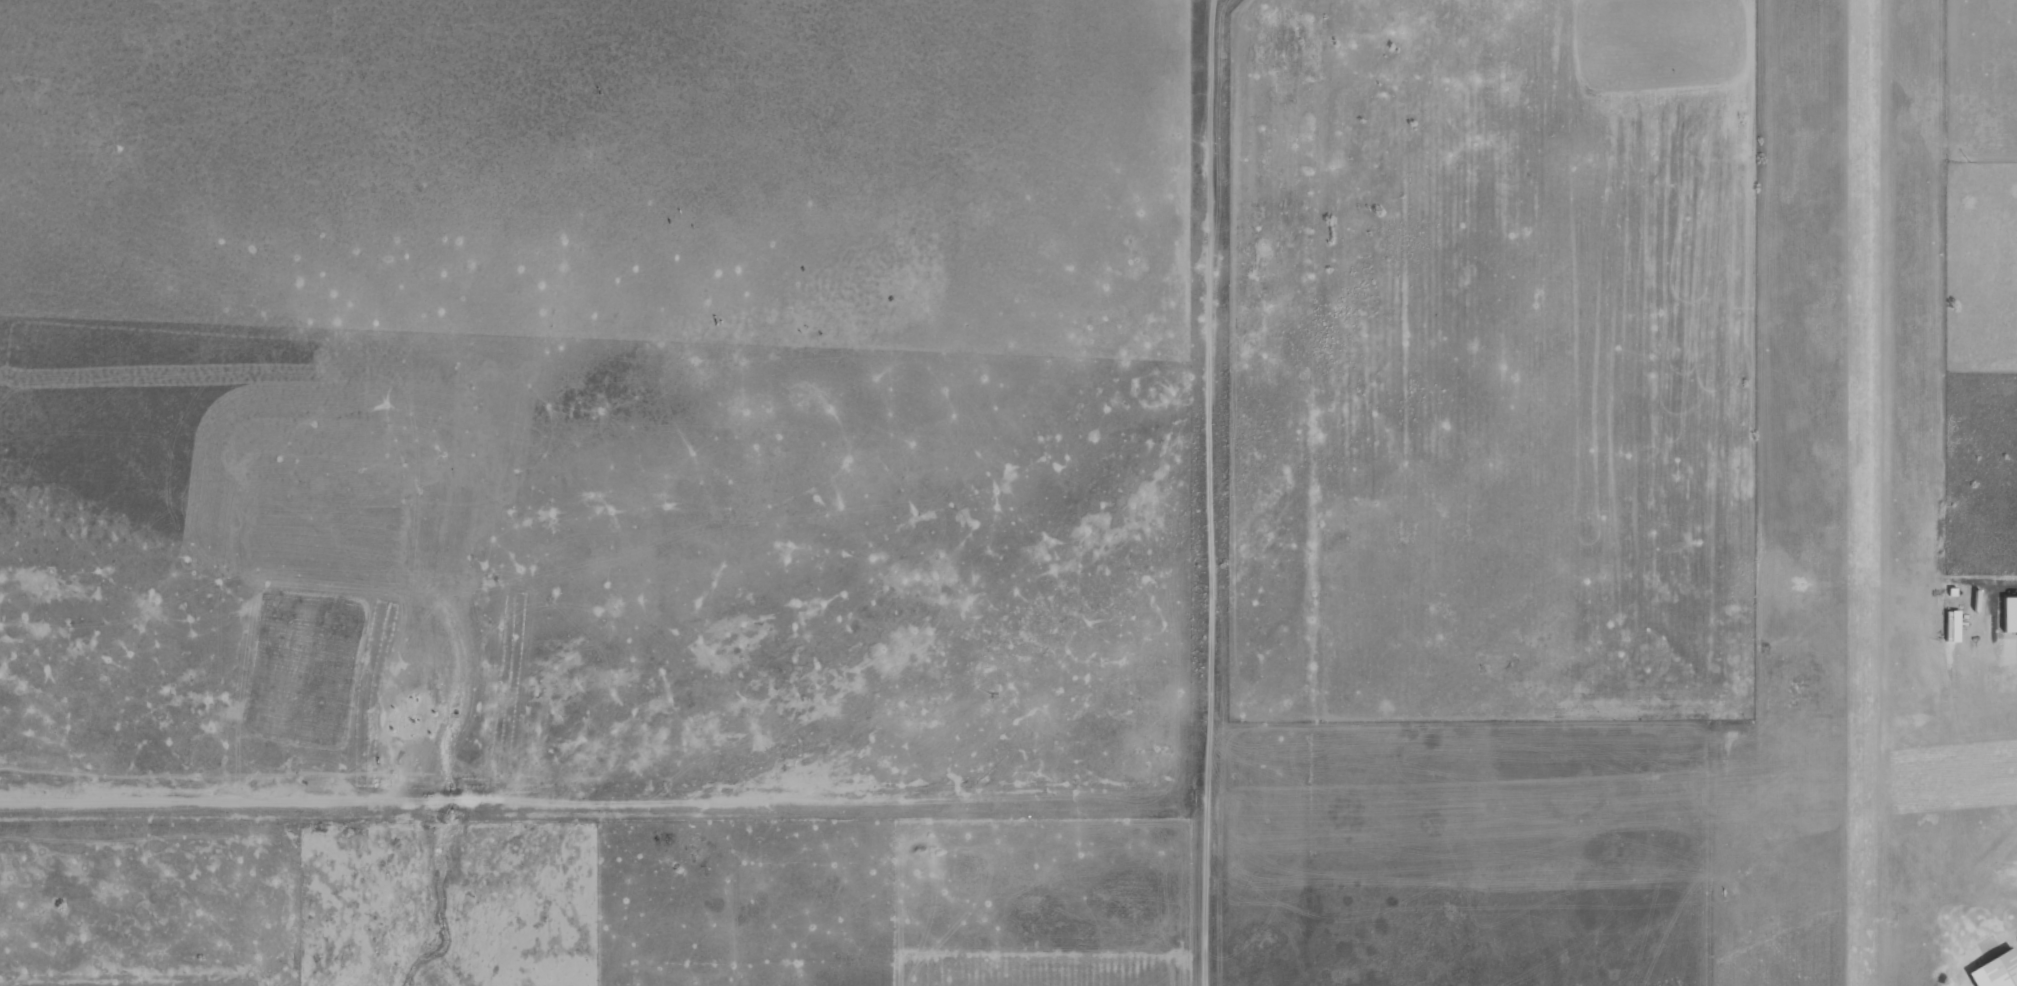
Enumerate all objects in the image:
airport runway: (1862, 493)
airport: (1882, 505)
building: (2009, 615)
building: (1952, 626)
building: (1995, 971)

